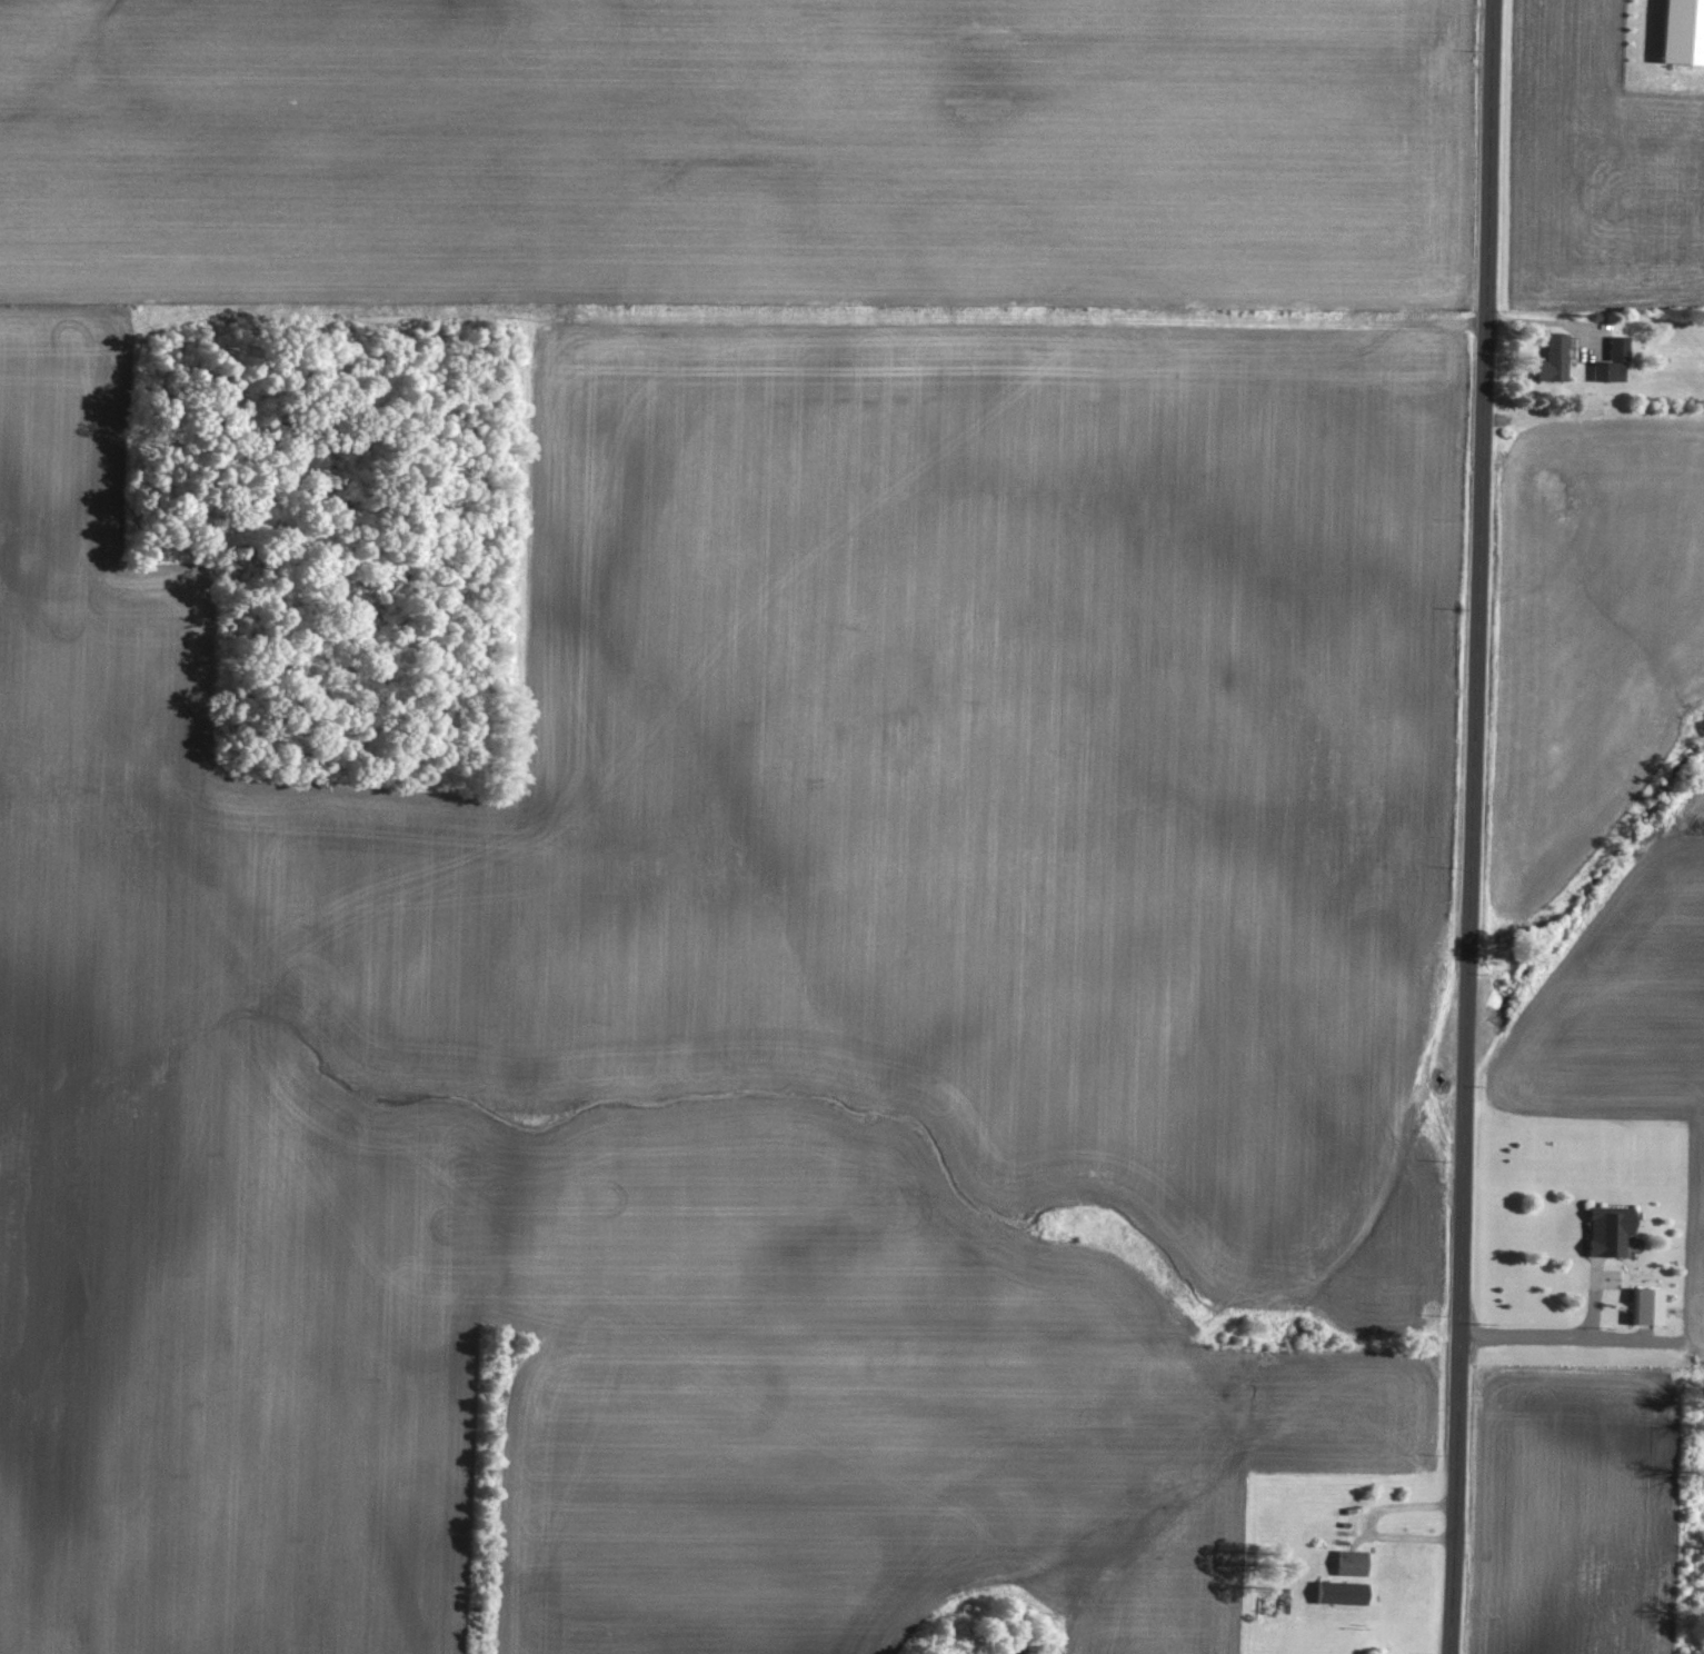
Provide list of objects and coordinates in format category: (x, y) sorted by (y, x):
building: (1681, 32)
building: (1549, 357)
building: (1610, 361)
road: (1473, 827)
building: (1605, 1229)
building: (1643, 1304)
road: (1548, 1334)
building: (1347, 1562)
building: (1337, 1591)

